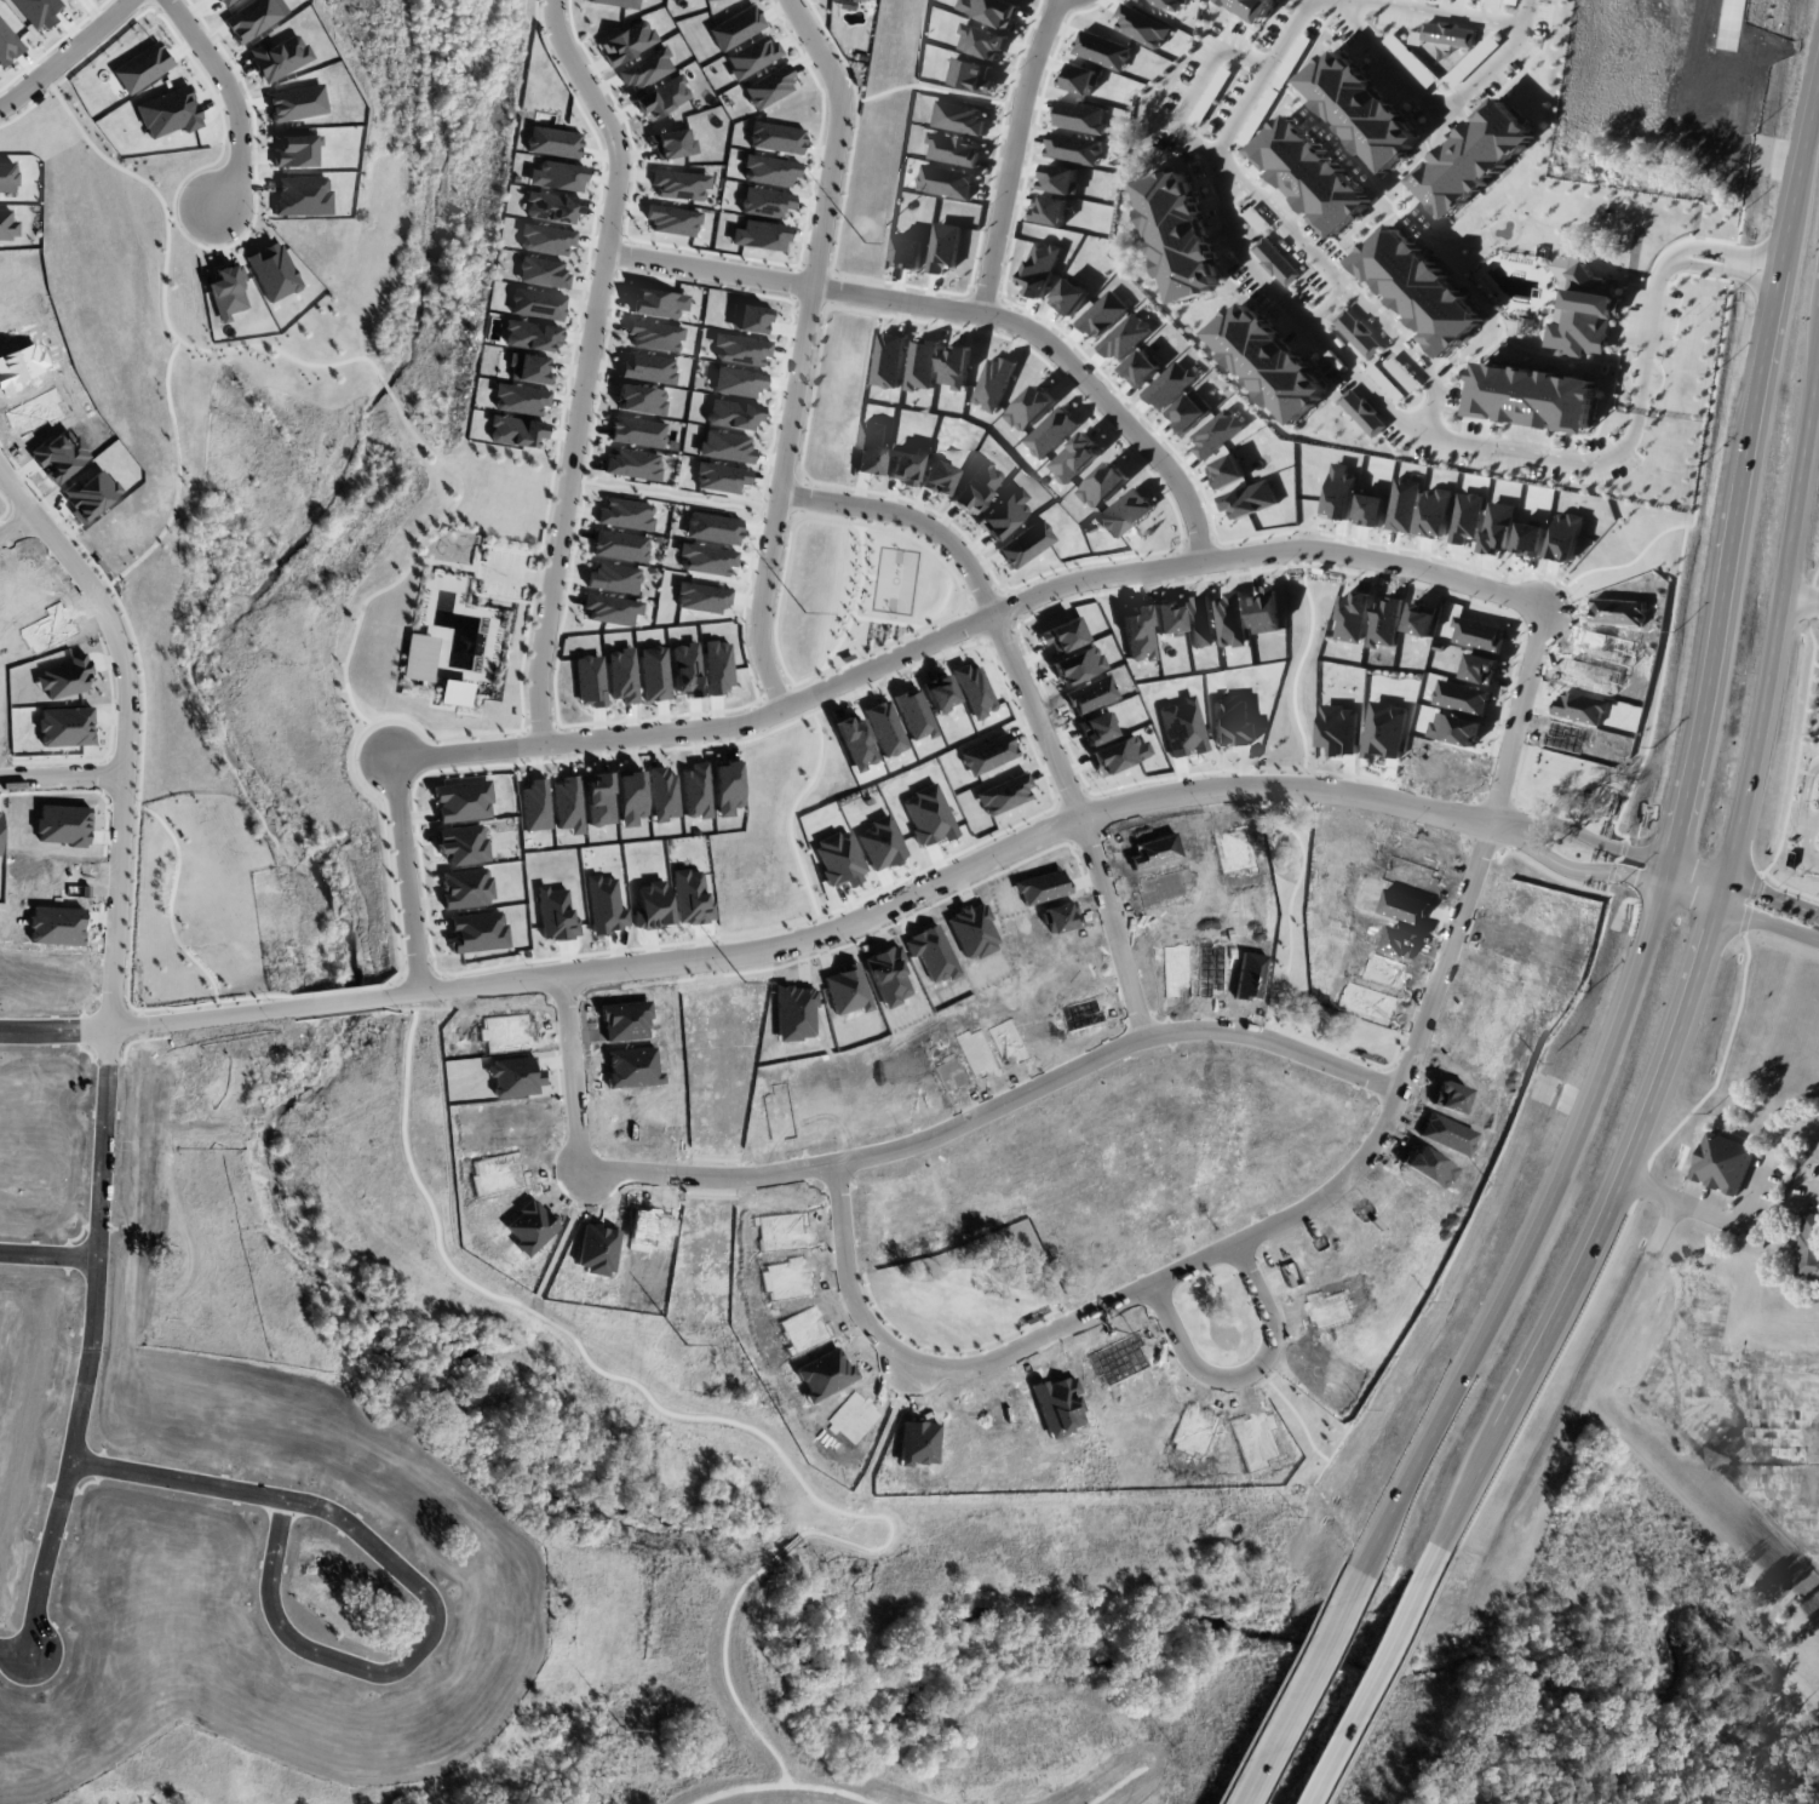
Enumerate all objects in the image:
building: (619, 4)
building: (1252, 7)
road: (1436, 12)
building: (736, 28)
building: (1447, 33)
building: (627, 42)
road: (65, 52)
building: (752, 57)
building: (645, 69)
building: (769, 86)
road: (1197, 87)
building: (662, 97)
road: (233, 101)
road: (1431, 102)
building: (1360, 109)
building: (776, 137)
building: (552, 142)
building: (672, 143)
road: (1012, 153)
building: (1473, 158)
building: (769, 170)
road: (1801, 173)
building: (1312, 174)
building: (557, 176)
building: (1061, 178)
building: (681, 184)
building: (765, 202)
building: (552, 207)
building: (1051, 210)
building: (672, 221)
building: (1178, 234)
building: (761, 235)
building: (546, 239)
power tower: (862, 242)
building: (945, 246)
building: (908, 252)
building: (1275, 260)
building: (1040, 267)
building: (543, 271)
road: (1338, 284)
building: (1419, 288)
building: (1071, 294)
building: (658, 303)
building: (536, 304)
road: (963, 308)
building: (1583, 310)
building: (1102, 313)
building: (750, 319)
building: (1358, 333)
building: (530, 336)
building: (654, 336)
building: (1125, 336)
building: (740, 349)
road: (801, 351)
road: (1767, 357)
building: (1268, 361)
road: (586, 363)
building: (922, 363)
building: (956, 365)
building: (648, 367)
building: (1141, 367)
building: (529, 368)
building: (738, 382)
building: (994, 382)
building: (1532, 397)
building: (520, 399)
building: (641, 400)
building: (1031, 407)
building: (1362, 412)
building: (731, 414)
road: (1408, 424)
building: (516, 431)
building: (637, 431)
building: (1051, 431)
building: (724, 446)
building: (1074, 457)
building: (633, 464)
building: (719, 477)
building: (625, 514)
road: (18, 523)
building: (712, 528)
building: (619, 545)
building: (705, 559)
building: (613, 578)
road: (1493, 588)
road: (1801, 591)
building: (701, 597)
building: (610, 609)
power tower: (802, 613)
road: (1778, 622)
road: (1714, 654)
building: (419, 657)
building: (717, 666)
building: (685, 670)
building: (653, 672)
building: (621, 675)
building: (590, 681)
building: (455, 693)
road: (1029, 701)
road: (63, 777)
road: (1807, 790)
building: (696, 791)
building: (662, 794)
building: (631, 797)
building: (598, 798)
building: (535, 804)
building: (568, 804)
road: (1593, 836)
road: (1803, 840)
road: (1583, 870)
road: (1699, 870)
road: (1762, 870)
road: (1669, 874)
road: (1722, 890)
road: (1692, 894)
road: (1772, 895)
road: (1768, 921)
road: (770, 946)
power tower: (744, 981)
road: (110, 1040)
road: (909, 1147)
building: (1726, 1161)
road: (1626, 1173)
road: (1651, 1187)
road: (1534, 1237)
building: (1813, 1249)
road: (48, 1255)
power tower: (685, 1339)
road: (1557, 1357)
road: (1250, 1375)
road: (1469, 1489)
road: (411, 1579)
road: (11, 1644)
road: (1371, 1676)
road: (1385, 1678)
road: (1298, 1686)
power tower: (622, 1730)

